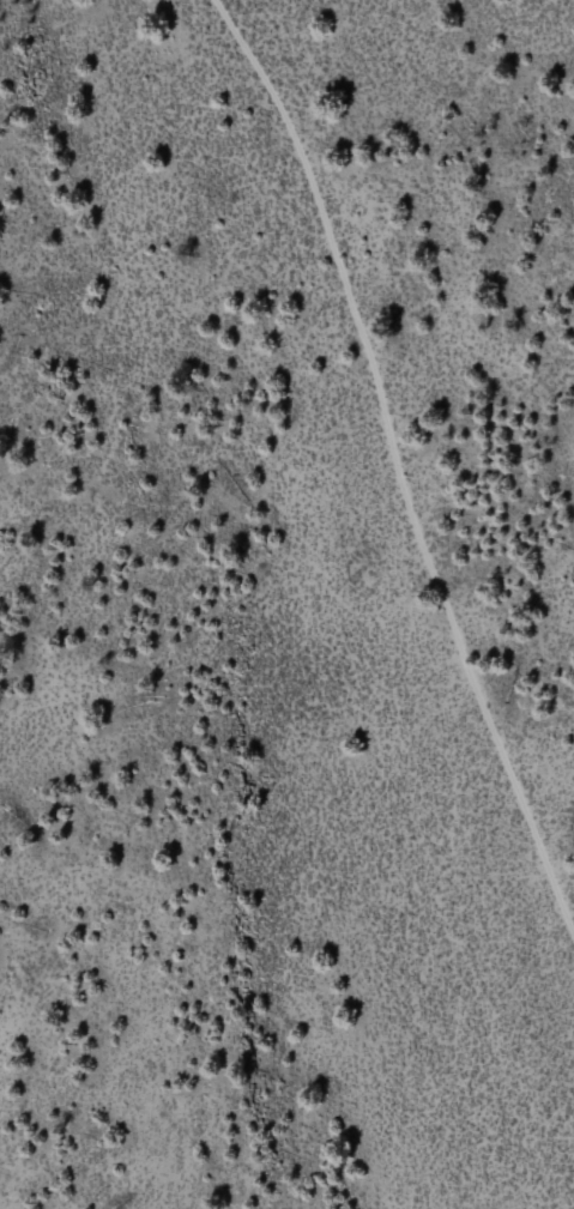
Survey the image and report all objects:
road: (399, 458)

